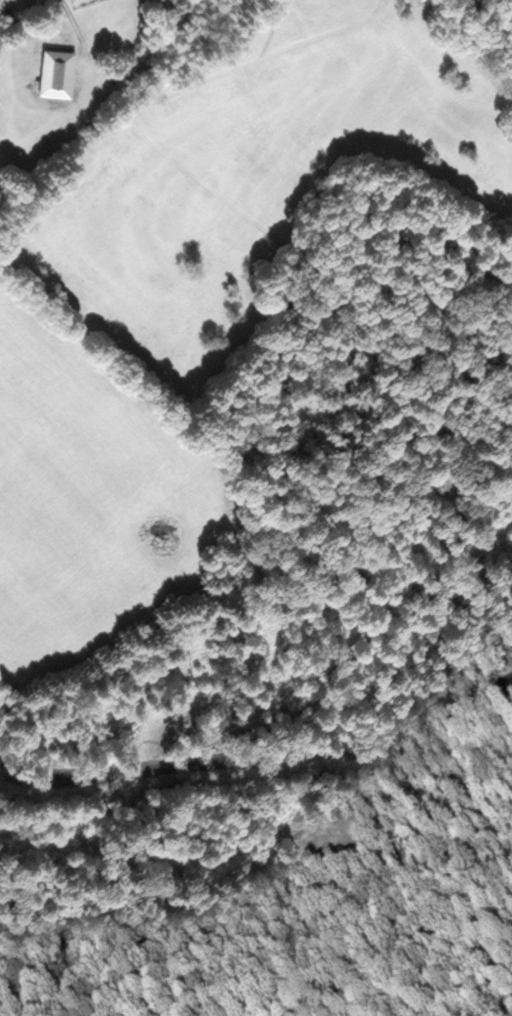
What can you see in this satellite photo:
building: (60, 70)
road: (260, 755)

